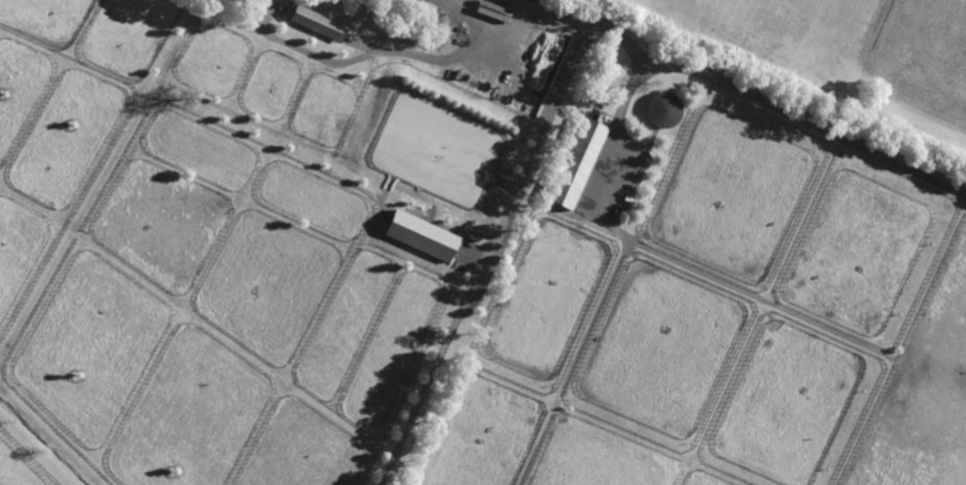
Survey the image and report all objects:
road: (492, 15)
building: (319, 24)
road: (411, 53)
park: (919, 56)
park: (832, 57)
road: (566, 71)
building: (663, 109)
building: (420, 235)

